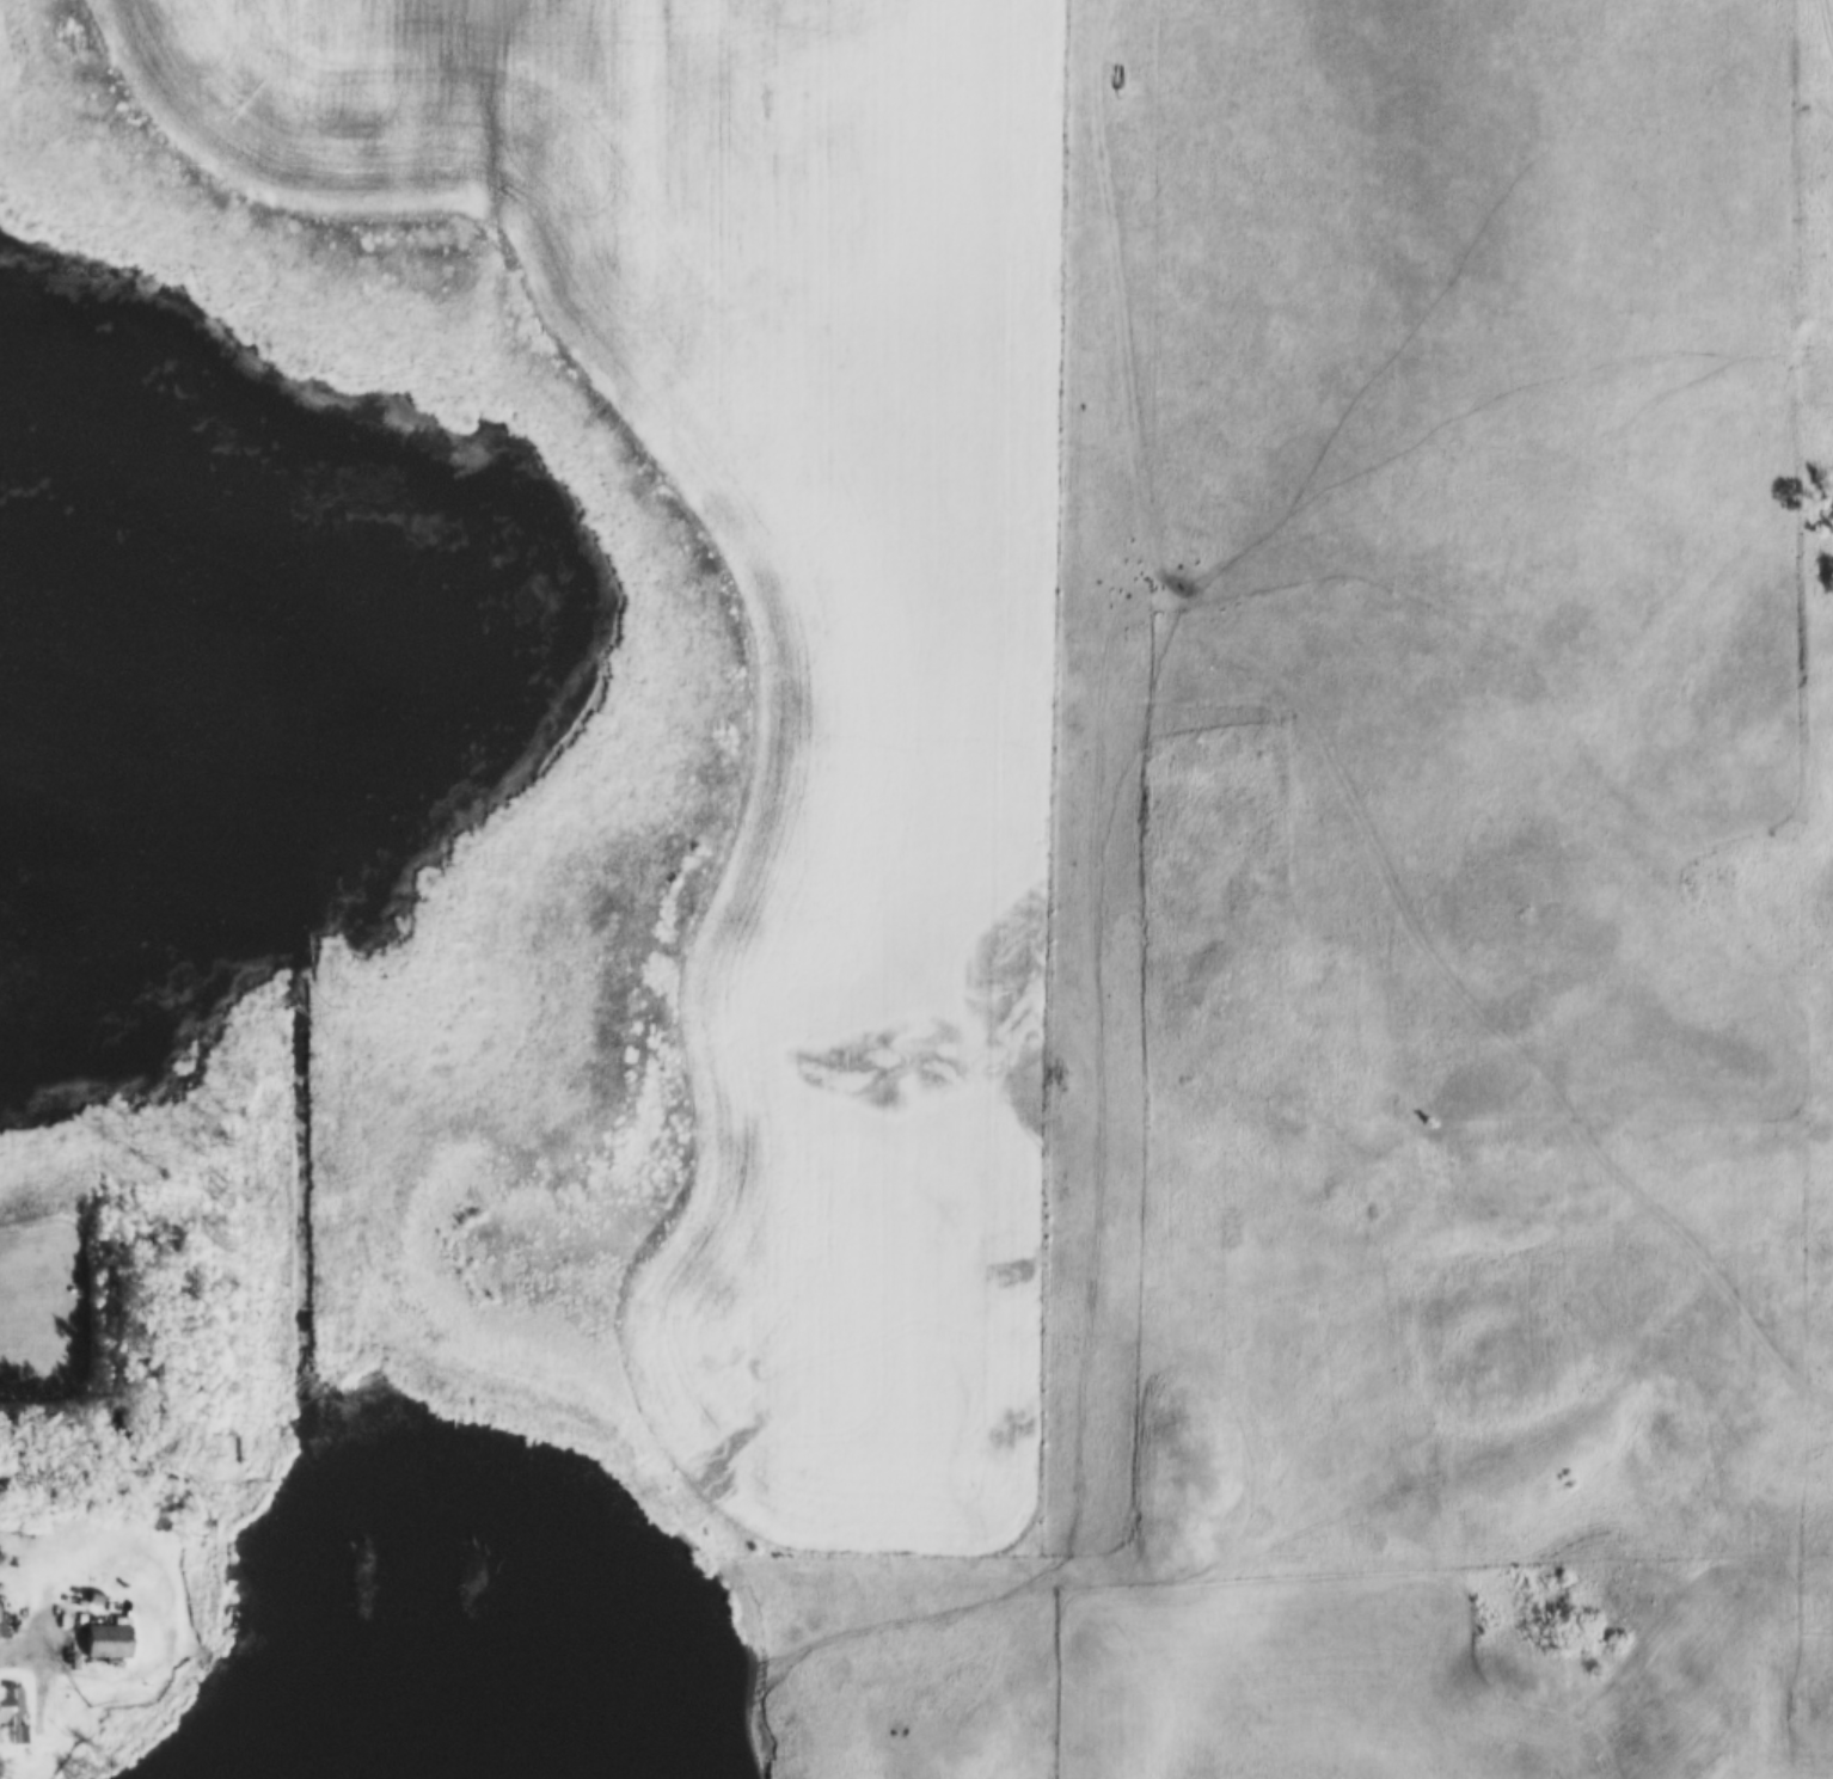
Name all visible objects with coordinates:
building: (223, 1452)
building: (1, 1558)
silo: (1, 1558)
building: (96, 1589)
road: (172, 1599)
building: (106, 1642)
road: (7, 1649)
building: (12, 1718)

